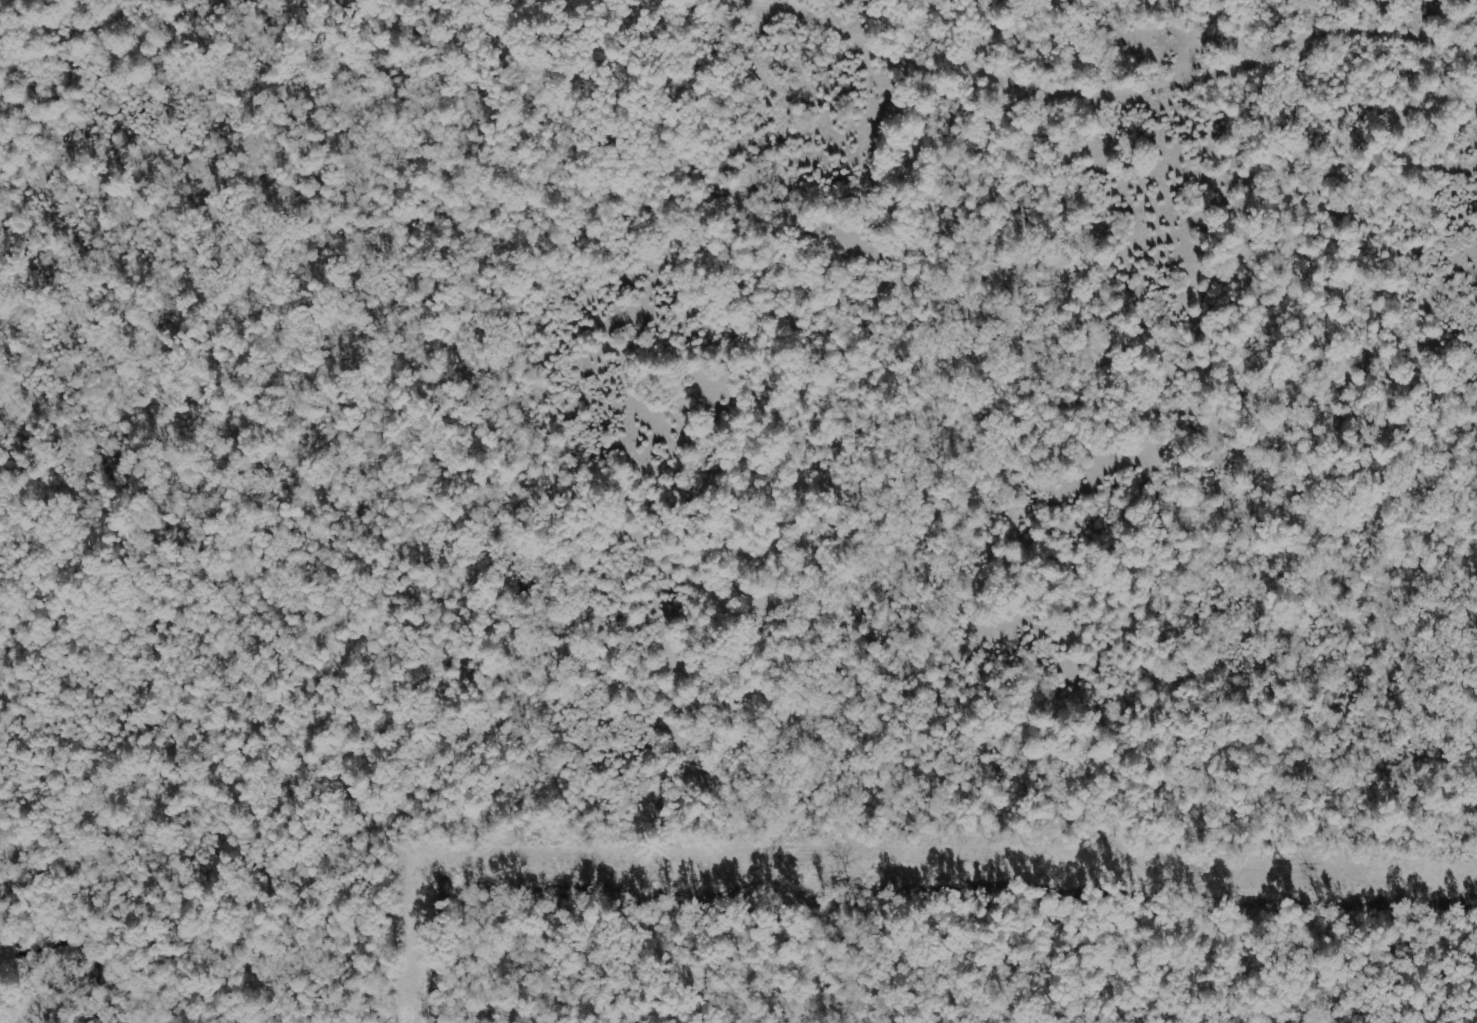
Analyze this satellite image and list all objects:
road: (303, 0)
road: (862, 0)

